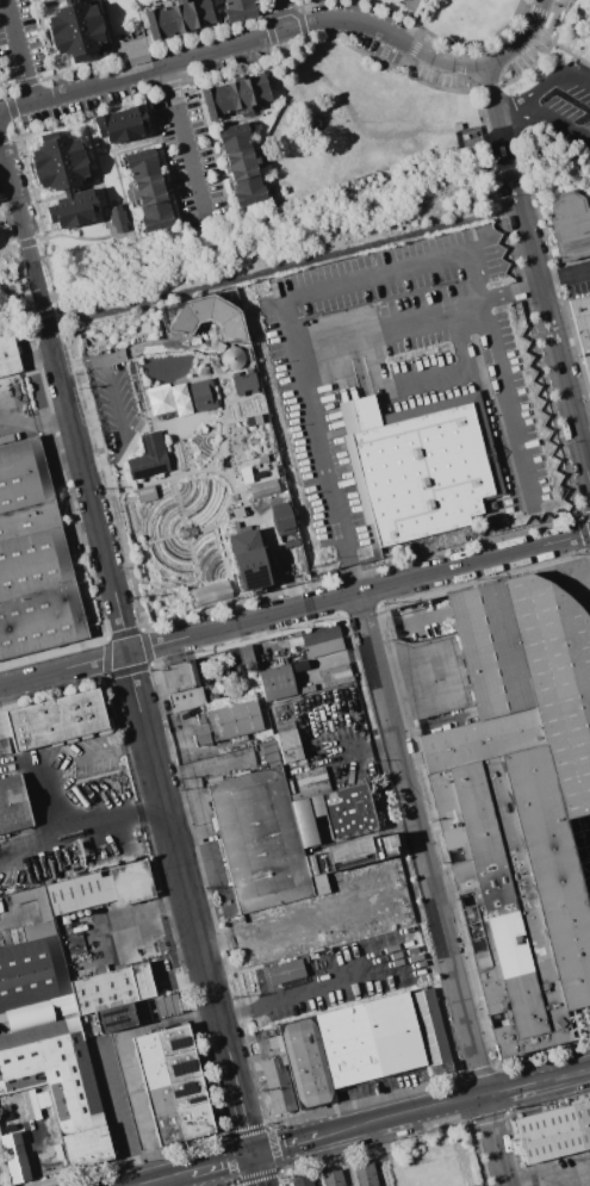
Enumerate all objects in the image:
building: (56, 0)
building: (66, 0)
road: (527, 6)
building: (238, 10)
building: (206, 13)
road: (286, 13)
building: (185, 17)
building: (73, 18)
building: (160, 23)
road: (421, 24)
road: (390, 36)
road: (522, 39)
building: (82, 43)
road: (228, 43)
road: (479, 43)
road: (48, 49)
road: (21, 50)
building: (138, 56)
road: (577, 79)
building: (262, 87)
road: (83, 88)
building: (243, 93)
road: (534, 98)
building: (218, 101)
parking lot: (563, 101)
park: (558, 103)
road: (498, 116)
road: (558, 122)
building: (122, 124)
road: (187, 139)
building: (235, 139)
building: (55, 151)
building: (142, 161)
building: (242, 162)
building: (61, 174)
building: (247, 187)
road: (517, 187)
building: (149, 188)
building: (72, 207)
building: (156, 217)
building: (117, 218)
building: (570, 225)
road: (108, 236)
road: (403, 269)
road: (251, 272)
road: (565, 277)
road: (509, 293)
building: (204, 316)
road: (385, 325)
building: (583, 327)
road: (555, 342)
building: (8, 354)
building: (232, 359)
road: (424, 380)
building: (244, 383)
building: (203, 396)
building: (168, 400)
road: (116, 402)
road: (35, 420)
building: (251, 420)
road: (223, 423)
building: (148, 457)
building: (424, 465)
road: (180, 473)
building: (262, 491)
building: (144, 495)
building: (281, 522)
road: (343, 545)
building: (32, 558)
building: (248, 558)
building: (210, 594)
road: (360, 594)
road: (118, 604)
building: (319, 639)
road: (64, 667)
building: (178, 675)
building: (335, 675)
building: (275, 682)
building: (185, 697)
building: (55, 719)
building: (226, 722)
building: (287, 745)
building: (4, 746)
building: (310, 782)
building: (308, 793)
building: (520, 803)
building: (12, 805)
building: (347, 811)
building: (306, 819)
road: (82, 822)
building: (256, 838)
parking lot: (583, 850)
building: (349, 852)
building: (100, 888)
road: (431, 889)
road: (141, 911)
building: (43, 913)
building: (299, 934)
building: (284, 970)
building: (31, 971)
building: (110, 988)
road: (281, 995)
building: (113, 1017)
building: (381, 1037)
road: (129, 1060)
building: (293, 1067)
building: (52, 1070)
building: (170, 1085)
road: (518, 1086)
road: (117, 1114)
road: (242, 1116)
road: (383, 1122)
building: (554, 1132)
road: (29, 1142)
building: (86, 1147)
road: (284, 1147)
traffic signals: (251, 1155)
building: (13, 1157)
road: (219, 1162)
road: (255, 1171)
building: (365, 1174)
road: (168, 1176)
building: (331, 1178)
building: (302, 1181)
road: (138, 1184)
road: (135, 1185)
building: (480, 1185)
road: (588, 1185)

